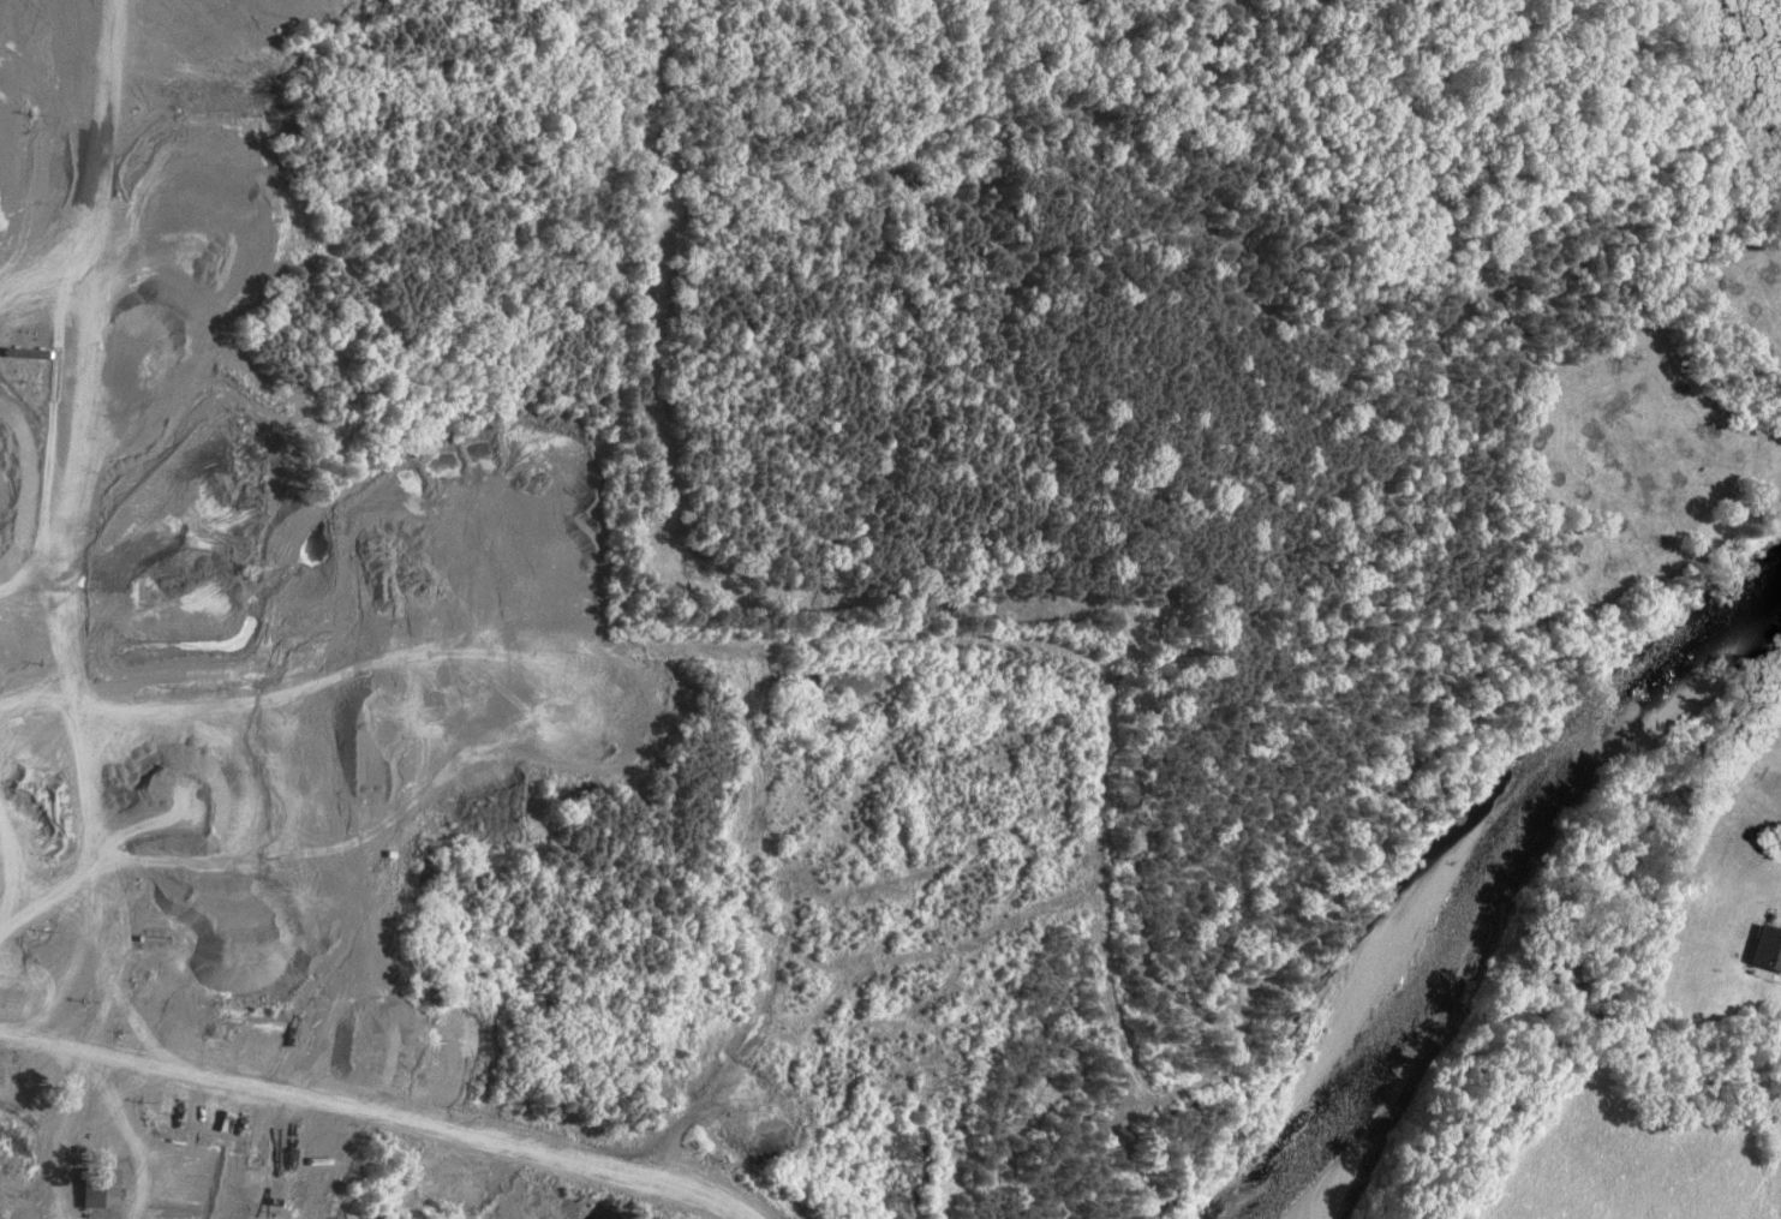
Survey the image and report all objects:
road: (108, 147)
building: (24, 351)
road: (22, 556)
road: (60, 634)
road: (470, 637)
quarry: (271, 683)
river: (1463, 862)
road: (364, 890)
building: (1767, 949)
road: (382, 1110)
building: (97, 1189)

